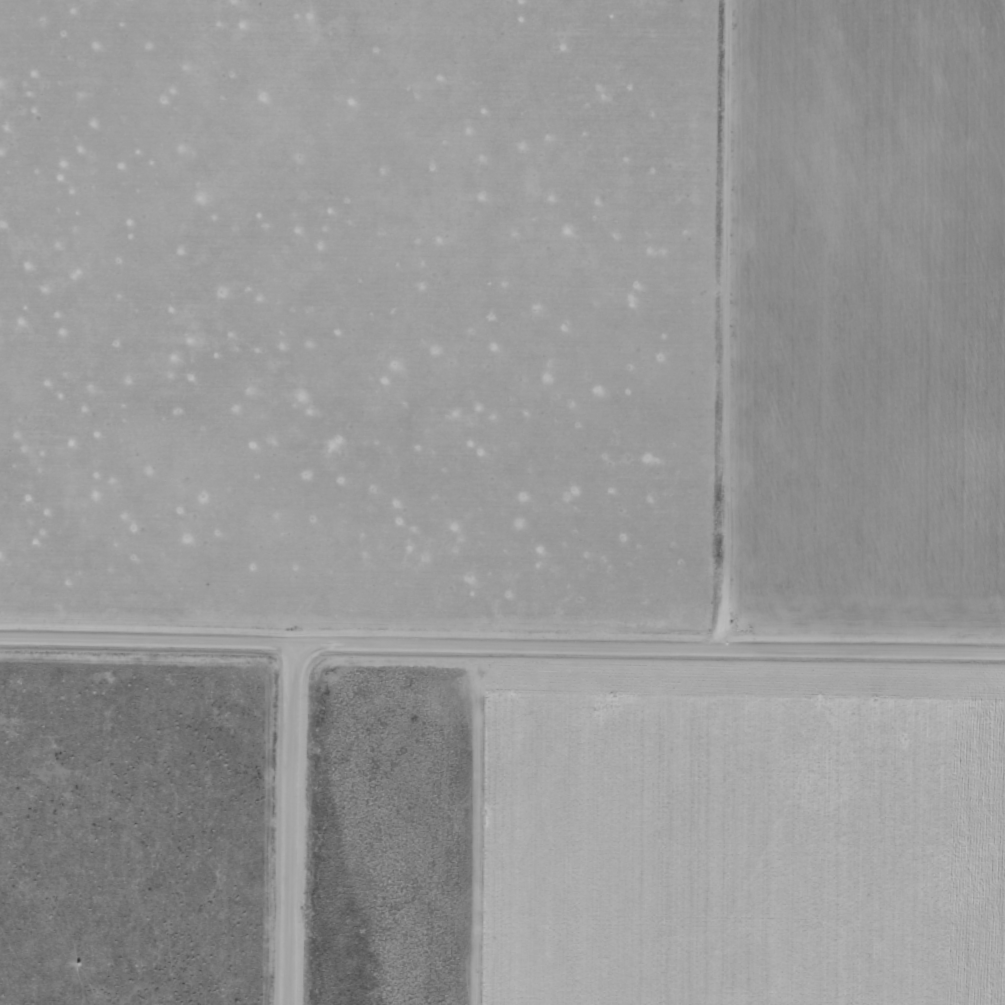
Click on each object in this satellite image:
road: (730, 328)
road: (502, 657)
road: (300, 831)

